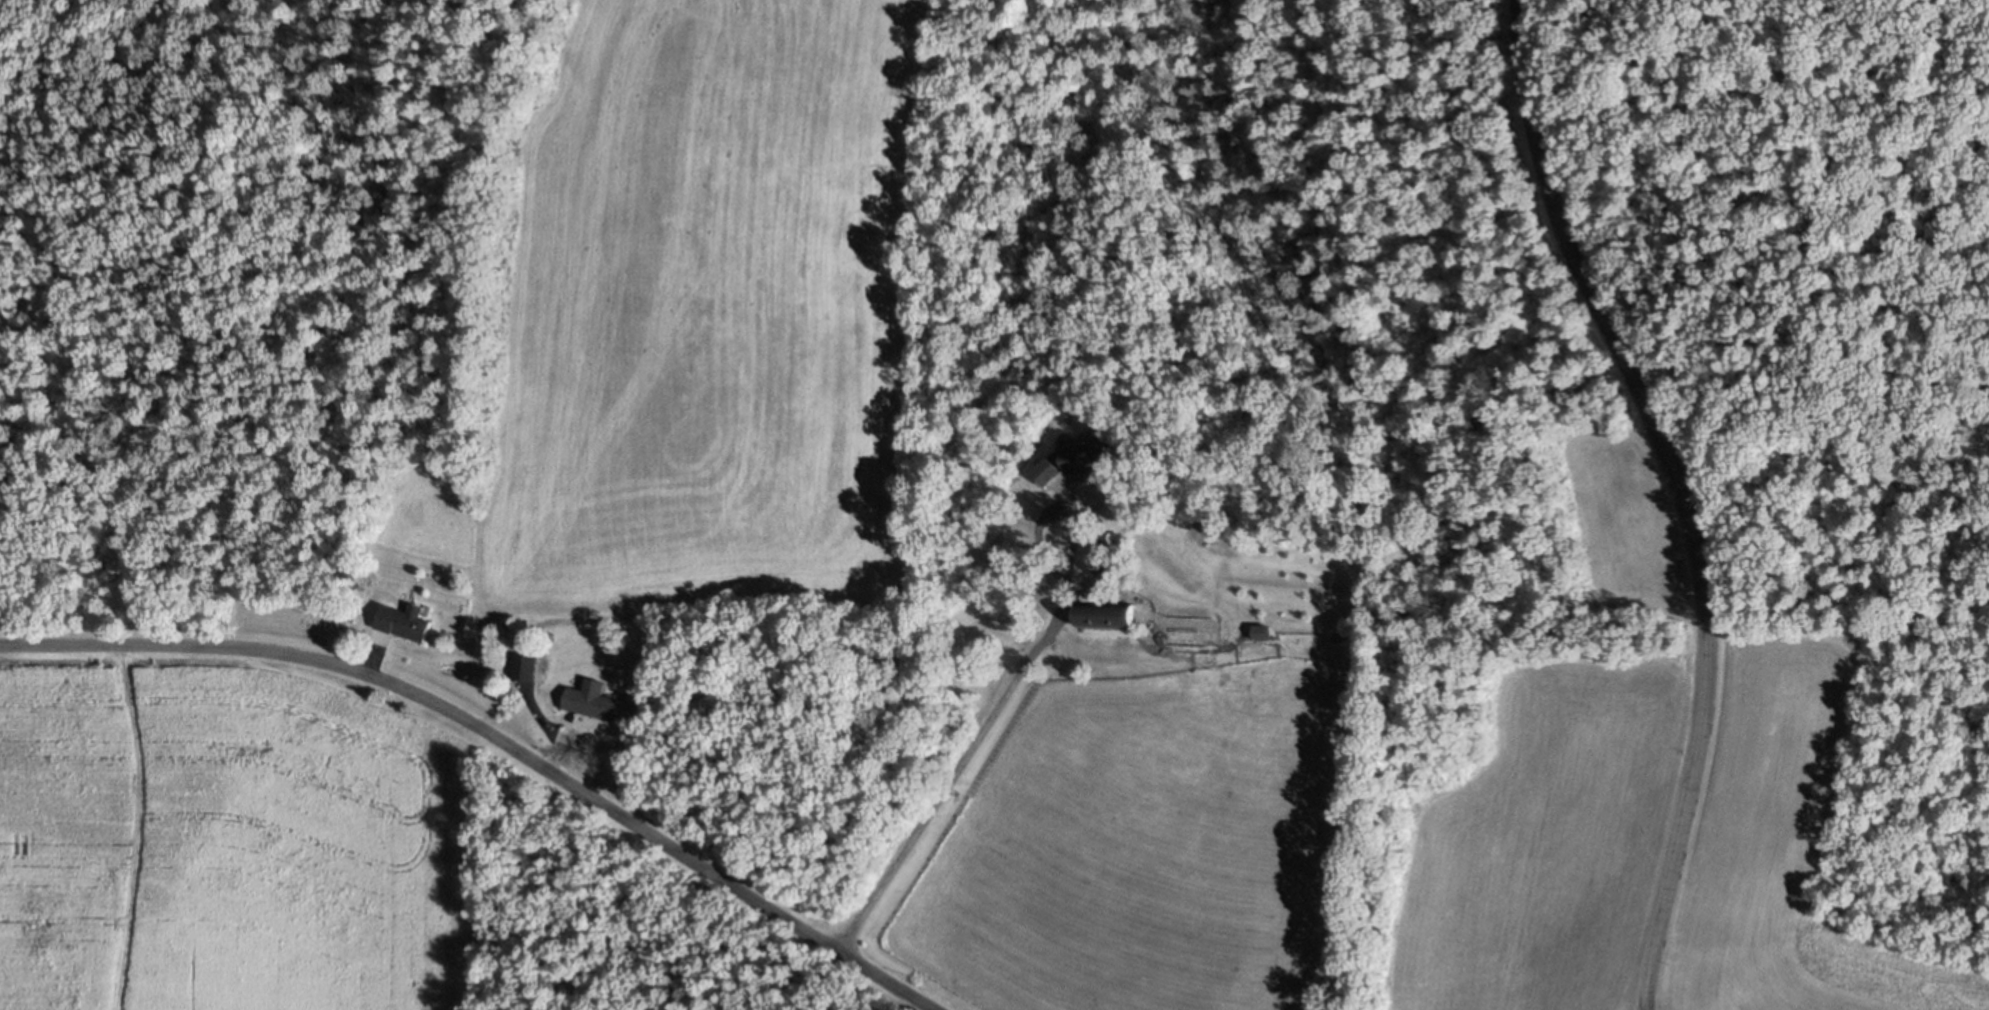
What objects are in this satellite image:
building: (1072, 461)
road: (1681, 493)
building: (1098, 535)
building: (1102, 613)
building: (403, 620)
building: (549, 637)
building: (590, 698)
road: (1001, 699)
road: (495, 738)

